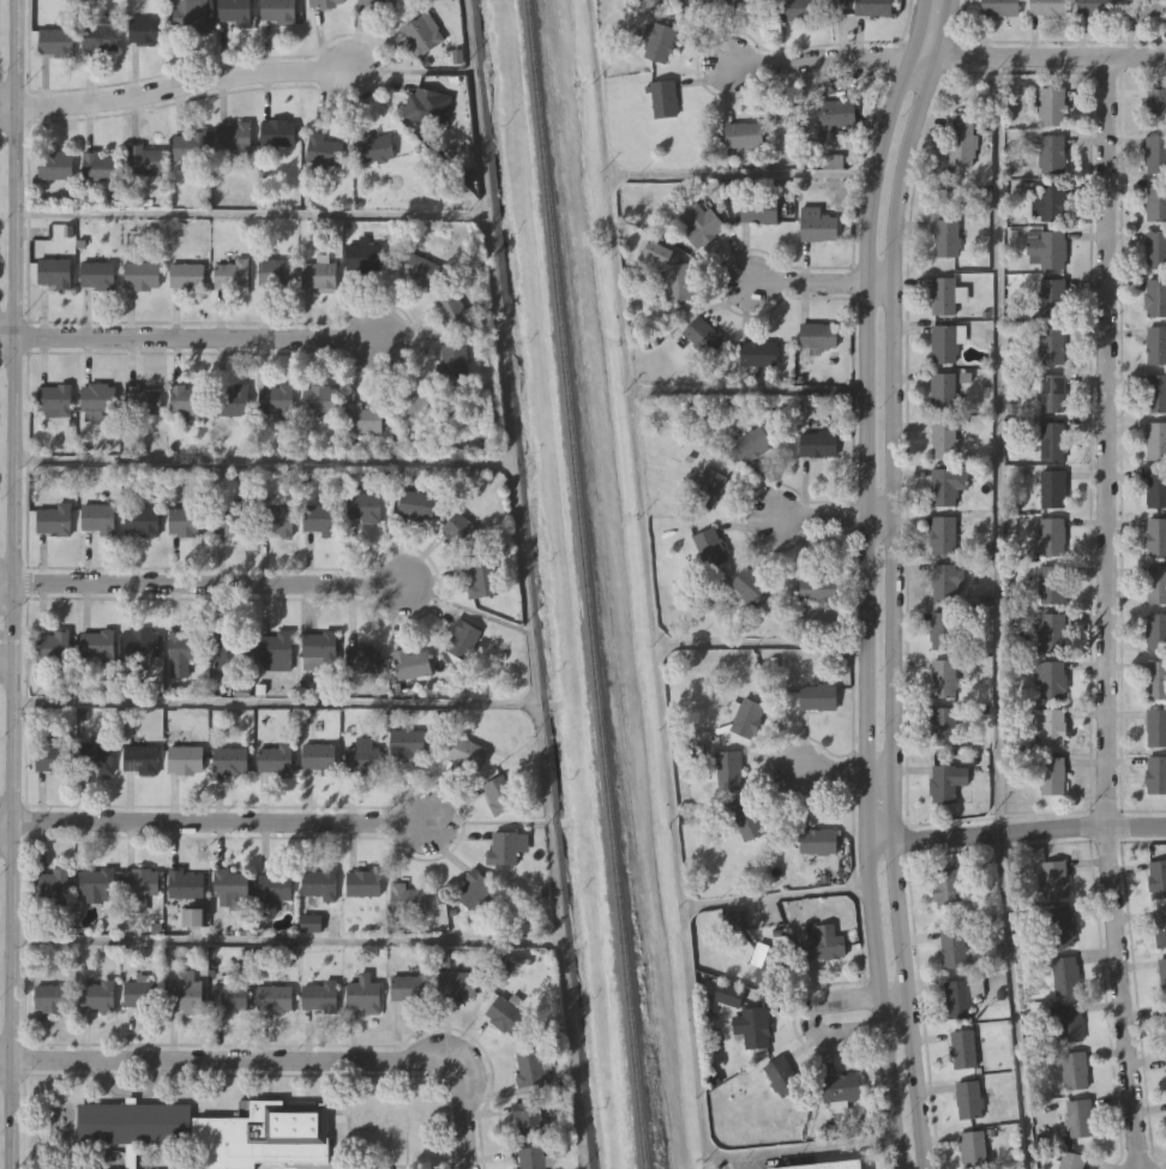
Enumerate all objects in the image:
building: (716, 2)
building: (326, 4)
building: (379, 4)
building: (872, 7)
building: (999, 7)
building: (1095, 7)
building: (1143, 7)
building: (1047, 8)
building: (234, 11)
building: (277, 11)
building: (794, 11)
building: (191, 16)
building: (145, 30)
building: (422, 34)
building: (101, 37)
building: (55, 42)
building: (657, 42)
road: (1038, 56)
road: (817, 60)
road: (179, 84)
building: (663, 100)
building: (423, 104)
building: (1051, 107)
building: (1156, 108)
building: (835, 114)
building: (277, 132)
building: (743, 134)
building: (234, 136)
building: (963, 139)
building: (190, 145)
building: (323, 149)
building: (375, 149)
building: (1051, 155)
building: (1155, 155)
building: (145, 160)
building: (55, 164)
building: (102, 166)
road: (657, 174)
building: (1051, 200)
building: (1156, 203)
building: (758, 210)
road: (251, 214)
building: (698, 224)
building: (817, 224)
building: (58, 232)
building: (945, 238)
building: (1155, 250)
building: (1046, 251)
building: (365, 258)
building: (420, 270)
building: (275, 271)
building: (673, 271)
building: (53, 272)
building: (97, 275)
building: (142, 275)
building: (187, 275)
building: (232, 275)
building: (318, 275)
road: (816, 281)
building: (943, 296)
building: (1051, 298)
building: (1155, 298)
building: (452, 311)
building: (702, 335)
road: (191, 336)
building: (817, 336)
building: (943, 344)
building: (1051, 346)
building: (1156, 346)
building: (757, 354)
building: (455, 360)
road: (643, 386)
building: (942, 392)
building: (1051, 394)
building: (1156, 394)
building: (98, 396)
park: (1, 398)
building: (187, 398)
building: (276, 398)
building: (320, 398)
building: (233, 400)
building: (54, 401)
building: (144, 401)
building: (425, 403)
building: (362, 419)
building: (942, 439)
building: (1052, 442)
building: (1155, 442)
building: (818, 444)
road: (1000, 444)
building: (751, 445)
road: (262, 460)
building: (946, 485)
building: (707, 488)
building: (1052, 490)
building: (1156, 490)
building: (415, 504)
building: (363, 506)
road: (830, 515)
building: (98, 517)
building: (54, 518)
building: (142, 520)
building: (319, 520)
building: (186, 521)
building: (232, 521)
building: (276, 522)
building: (461, 532)
building: (942, 535)
building: (1051, 536)
building: (1155, 536)
building: (709, 547)
building: (482, 580)
road: (870, 581)
road: (890, 581)
road: (202, 582)
road: (10, 583)
road: (525, 583)
railway: (585, 583)
building: (946, 583)
building: (1051, 584)
building: (1156, 584)
building: (750, 587)
building: (823, 588)
road: (653, 612)
road: (1105, 613)
building: (942, 631)
building: (1051, 633)
building: (1155, 633)
building: (462, 639)
building: (142, 643)
building: (52, 646)
building: (97, 646)
building: (275, 647)
building: (319, 647)
building: (182, 652)
building: (227, 652)
road: (5, 658)
building: (363, 658)
building: (411, 663)
building: (943, 678)
building: (1048, 681)
building: (1156, 681)
building: (817, 699)
road: (274, 702)
building: (746, 719)
building: (1048, 727)
building: (943, 729)
building: (1156, 729)
building: (407, 742)
building: (465, 753)
building: (97, 756)
building: (318, 756)
building: (53, 757)
building: (140, 757)
building: (185, 759)
building: (275, 759)
building: (362, 759)
building: (230, 760)
road: (843, 768)
building: (722, 769)
building: (1048, 775)
building: (1155, 775)
building: (948, 784)
building: (499, 793)
building: (747, 821)
road: (222, 822)
road: (5, 825)
road: (1016, 831)
building: (818, 843)
building: (503, 846)
road: (678, 858)
building: (1158, 879)
building: (142, 880)
building: (1054, 880)
building: (96, 881)
building: (319, 881)
building: (363, 881)
building: (186, 883)
building: (55, 885)
building: (232, 888)
building: (473, 888)
building: (945, 888)
building: (272, 889)
building: (407, 897)
building: (308, 917)
building: (1059, 928)
building: (1160, 929)
road: (286, 940)
building: (824, 941)
building: (747, 943)
building: (954, 948)
building: (1162, 975)
building: (1064, 976)
building: (459, 984)
building: (408, 987)
building: (187, 991)
building: (140, 993)
building: (363, 994)
building: (96, 995)
building: (319, 995)
building: (230, 996)
building: (731, 996)
building: (960, 996)
building: (52, 997)
building: (275, 997)
road: (1016, 1000)
building: (505, 1013)
road: (811, 1021)
building: (1070, 1023)
building: (1165, 1024)
building: (752, 1026)
building: (962, 1048)
road: (212, 1059)
building: (528, 1066)
building: (1074, 1069)
building: (780, 1075)
building: (839, 1086)
building: (968, 1099)
road: (461, 1104)
road: (703, 1114)
building: (528, 1117)
building: (1078, 1117)
building: (209, 1131)
building: (972, 1149)
building: (530, 1157)
building: (1071, 1161)
building: (824, 1164)
building: (70, 1168)

